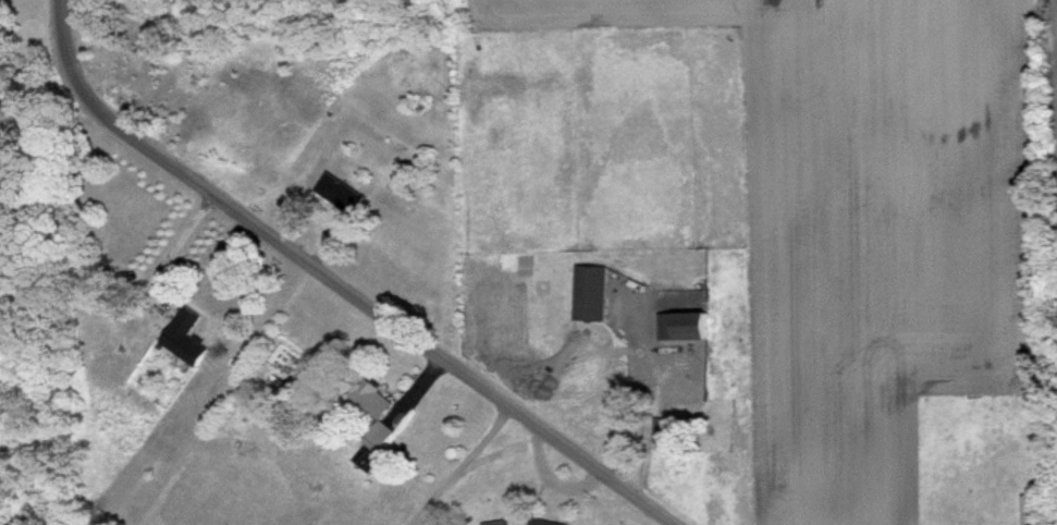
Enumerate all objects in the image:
building: (337, 190)
road: (170, 248)
road: (340, 280)
building: (587, 291)
building: (679, 323)
building: (185, 334)
road: (644, 390)
building: (373, 407)
building: (657, 432)
building: (543, 521)
building: (492, 522)

